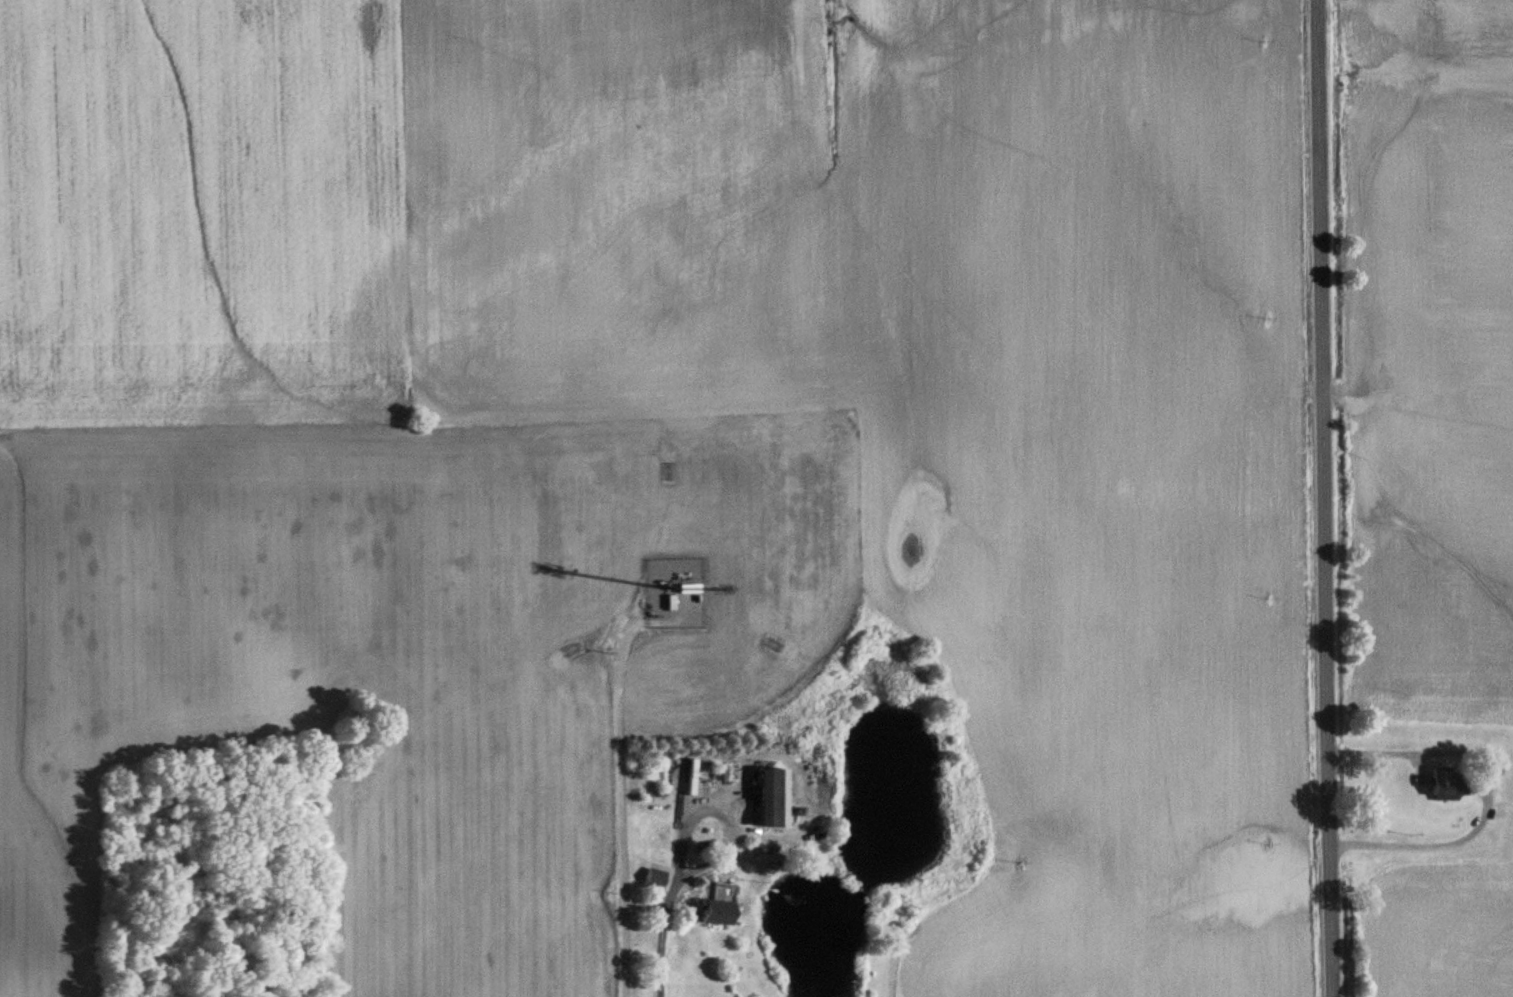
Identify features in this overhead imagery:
road: (1322, 498)
building: (690, 589)
building: (1449, 785)
road: (1484, 788)
building: (773, 800)
road: (604, 808)
building: (655, 879)
road: (671, 894)
building: (717, 913)

